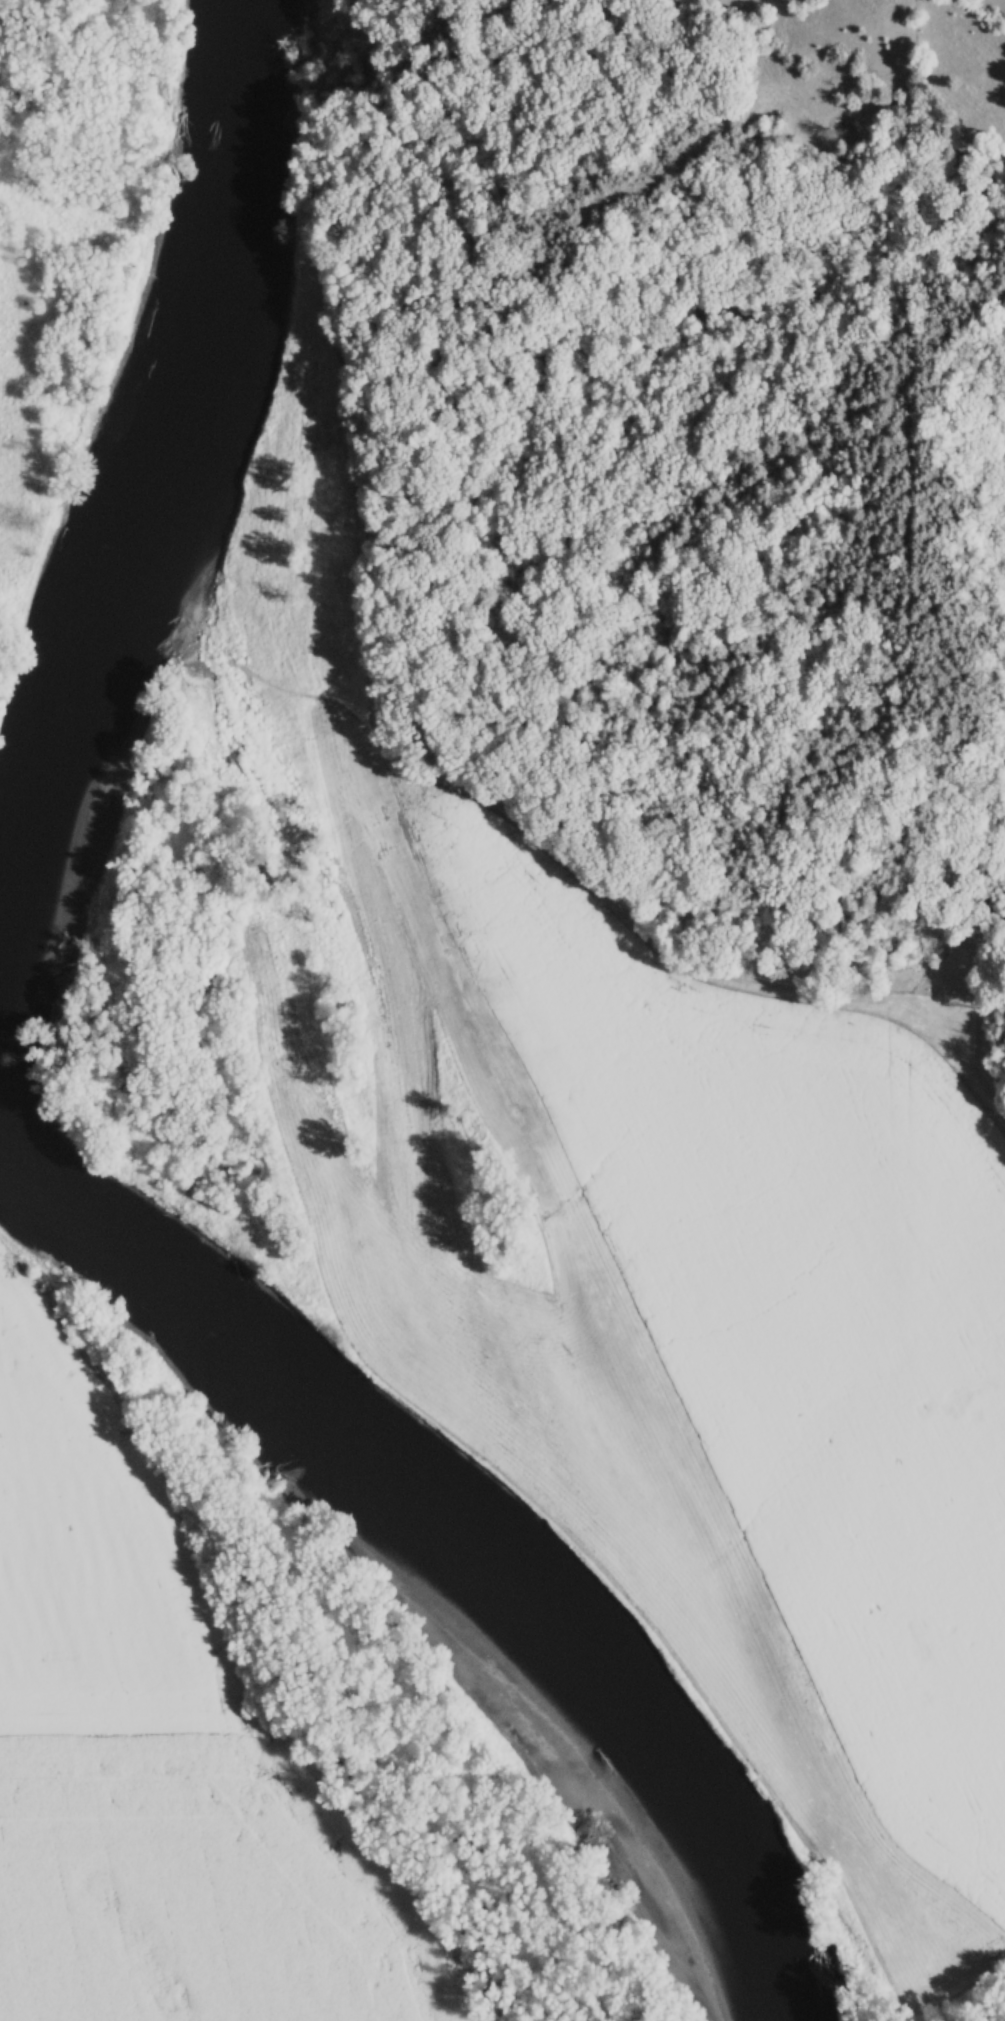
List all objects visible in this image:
river: (166, 465)
river: (448, 1528)

